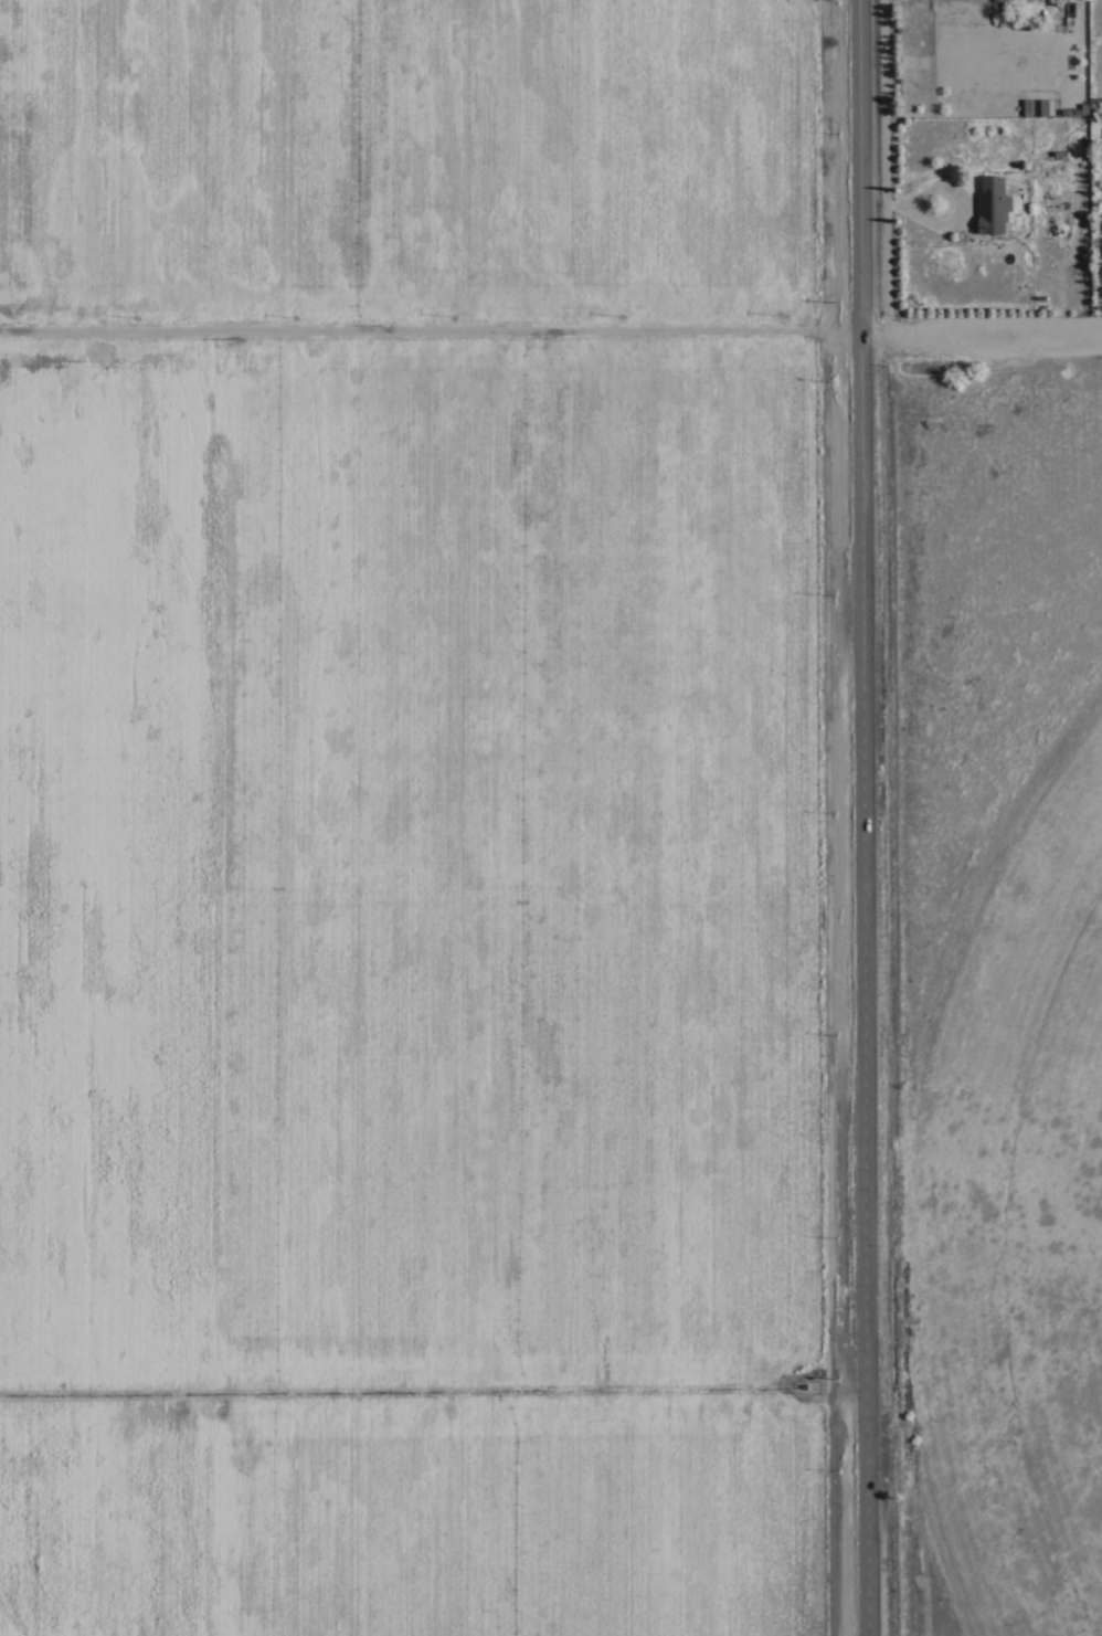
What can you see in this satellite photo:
building: (1028, 107)
building: (1043, 107)
building: (993, 204)
road: (551, 329)
road: (867, 817)
crop: (487, 863)

